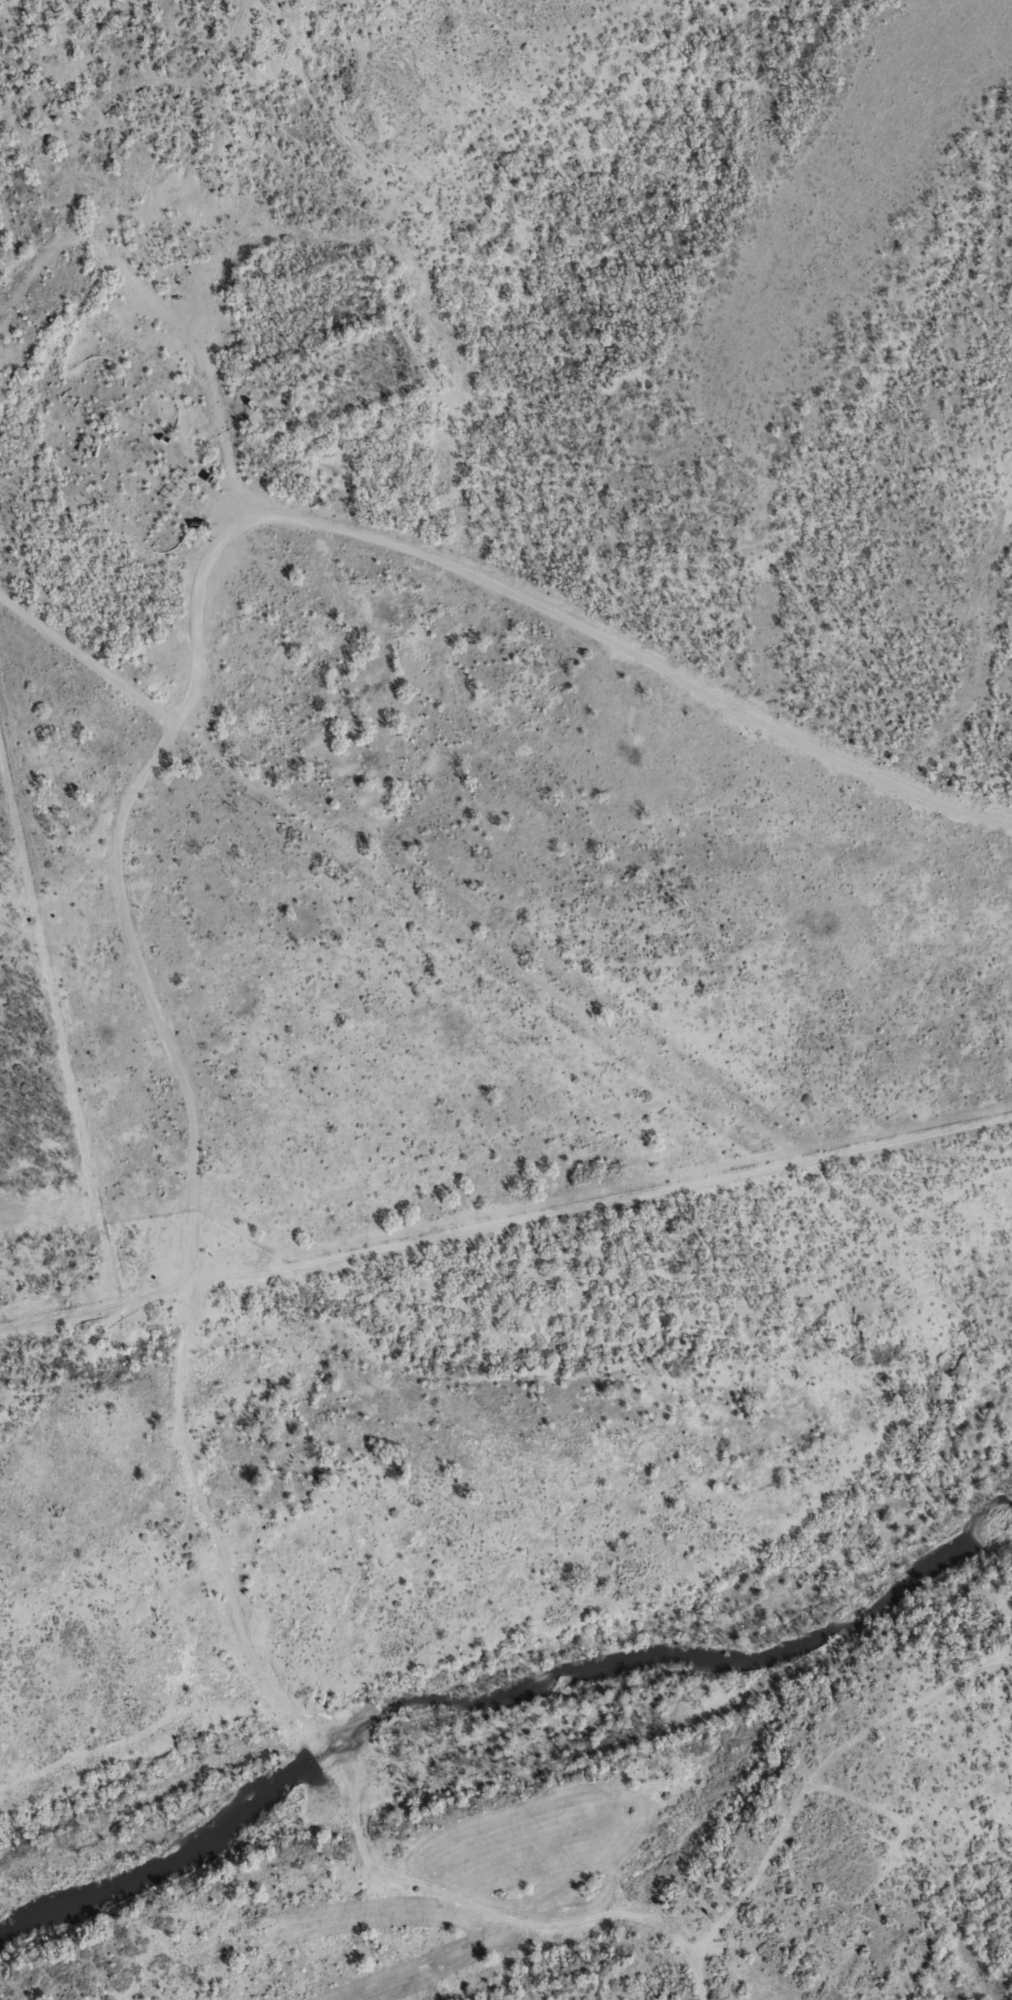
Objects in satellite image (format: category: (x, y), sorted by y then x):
road: (263, 629)
river: (501, 1690)

